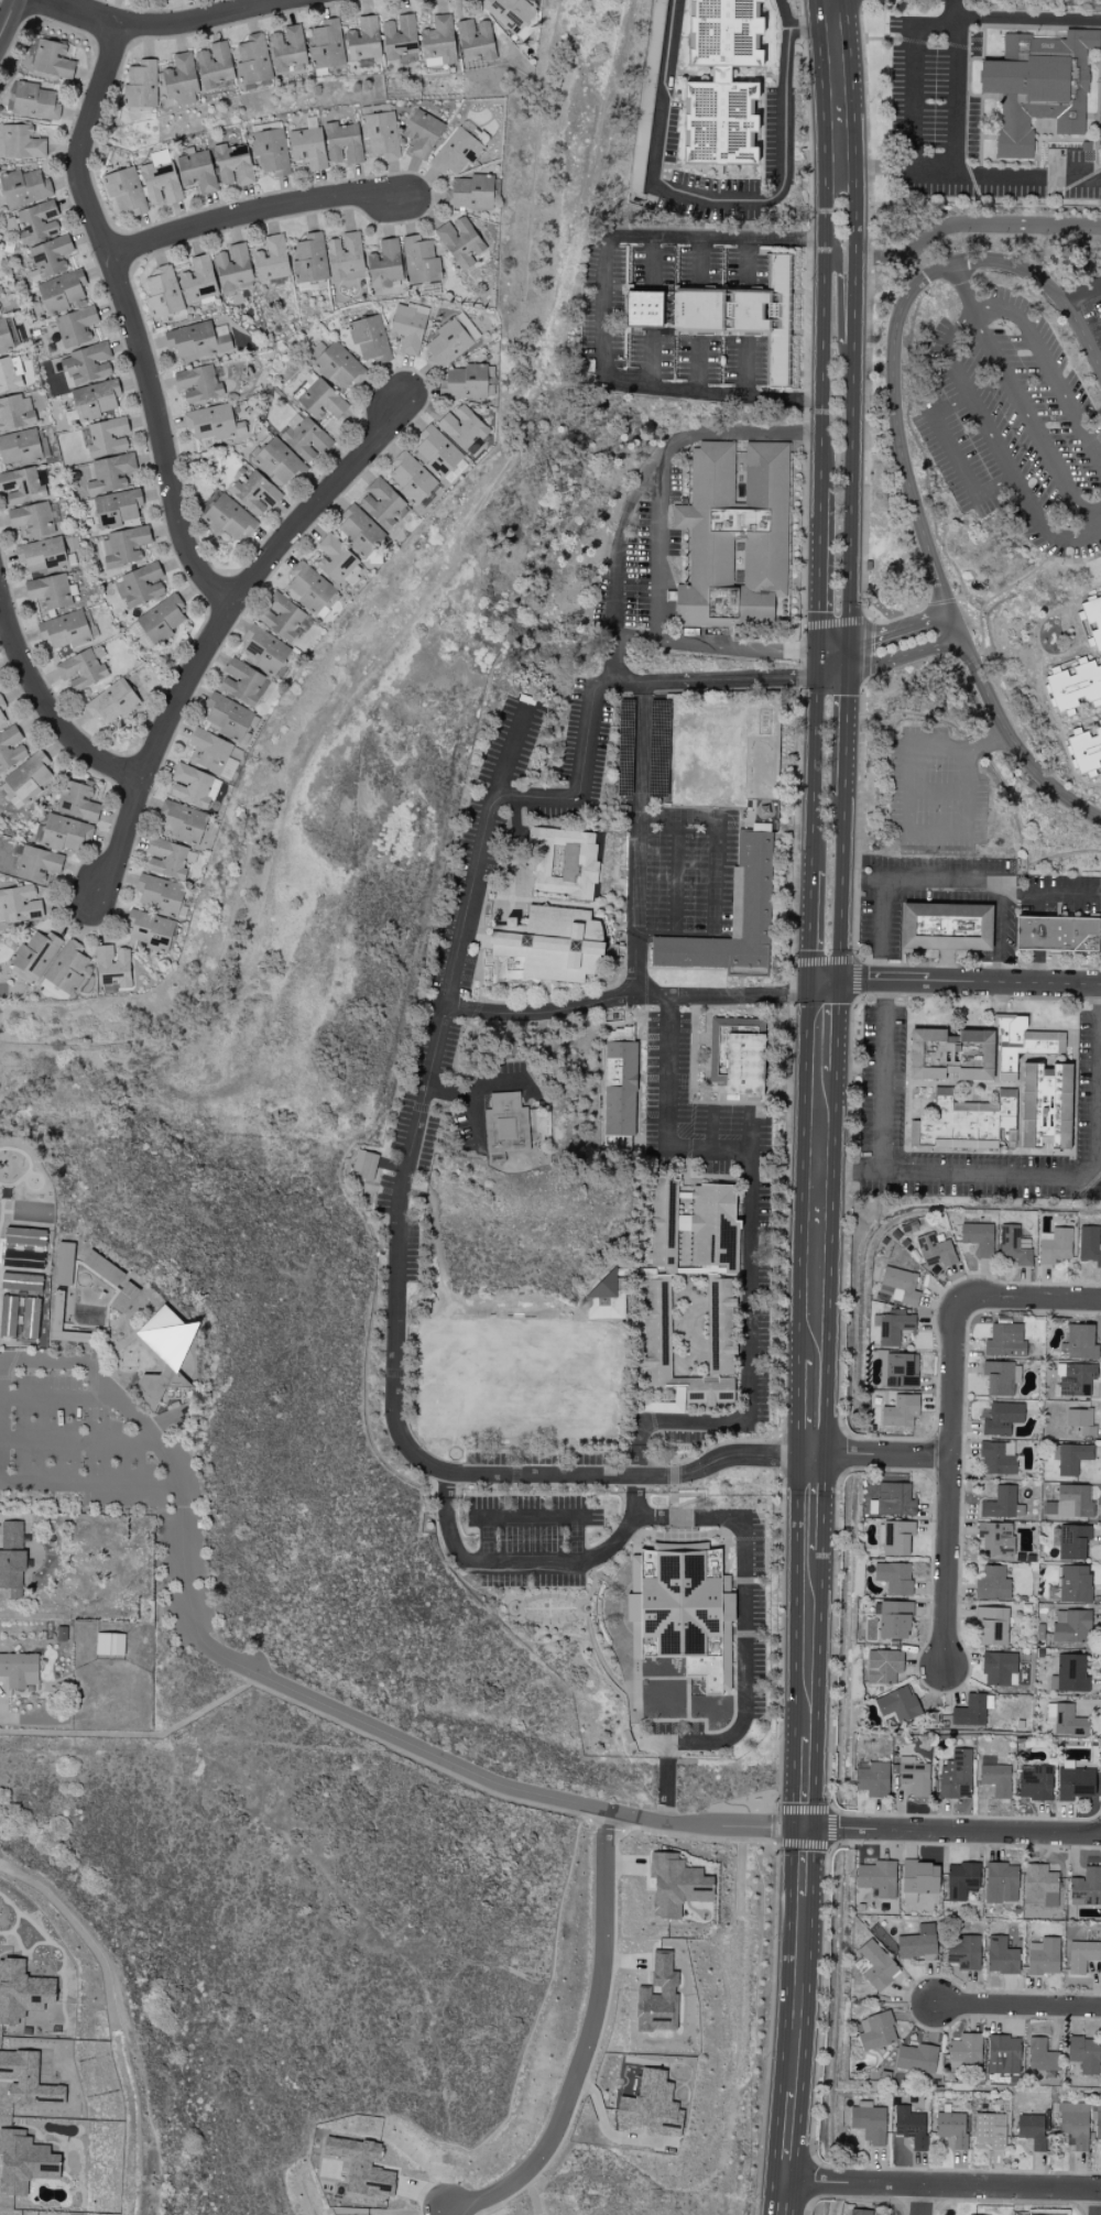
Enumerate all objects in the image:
building: (509, 13)
road: (951, 13)
road: (783, 14)
road: (8, 19)
road: (1026, 19)
road: (162, 22)
road: (803, 30)
building: (399, 37)
building: (363, 40)
building: (438, 41)
building: (475, 41)
building: (326, 45)
building: (287, 48)
building: (50, 58)
building: (252, 61)
building: (214, 65)
building: (181, 80)
building: (721, 83)
building: (141, 86)
building: (1037, 87)
building: (34, 102)
building: (380, 134)
building: (422, 134)
building: (342, 143)
building: (307, 148)
road: (851, 148)
building: (270, 152)
building: (456, 153)
building: (233, 165)
road: (915, 165)
building: (197, 172)
road: (1024, 174)
building: (160, 181)
building: (23, 187)
building: (126, 192)
building: (470, 193)
road: (709, 199)
road: (250, 212)
building: (37, 222)
road: (973, 227)
road: (715, 238)
building: (459, 242)
road: (828, 243)
building: (345, 254)
building: (47, 258)
building: (271, 260)
building: (309, 260)
building: (419, 261)
road: (745, 261)
road: (648, 262)
road: (698, 262)
building: (383, 264)
building: (233, 266)
road: (838, 275)
building: (198, 281)
road: (963, 285)
building: (62, 291)
building: (163, 293)
road: (1081, 297)
road: (603, 306)
building: (646, 309)
building: (0, 314)
building: (743, 315)
road: (129, 319)
road: (853, 321)
building: (76, 328)
road: (979, 328)
building: (407, 329)
building: (4, 337)
building: (369, 339)
building: (198, 340)
building: (448, 342)
road: (650, 359)
building: (86, 364)
road: (695, 364)
building: (338, 367)
road: (745, 368)
building: (8, 377)
building: (465, 382)
building: (198, 384)
road: (710, 391)
building: (95, 400)
building: (321, 401)
building: (14, 414)
building: (212, 423)
parking lot: (1027, 424)
building: (462, 428)
road: (738, 432)
building: (107, 436)
building: (304, 438)
road: (993, 438)
building: (19, 448)
building: (435, 454)
road: (953, 455)
road: (901, 459)
building: (279, 463)
building: (110, 473)
building: (411, 479)
building: (21, 487)
building: (255, 493)
road: (850, 494)
building: (381, 503)
building: (117, 508)
road: (658, 508)
building: (228, 519)
building: (31, 520)
building: (359, 532)
building: (733, 536)
building: (123, 546)
building: (42, 555)
building: (335, 559)
road: (821, 566)
building: (140, 586)
building: (308, 589)
building: (48, 591)
building: (1091, 614)
building: (282, 617)
building: (161, 619)
road: (219, 629)
road: (897, 629)
building: (65, 630)
traffic signals: (821, 643)
road: (835, 643)
traffic signals: (849, 644)
building: (264, 651)
road: (902, 657)
road: (848, 659)
road: (819, 661)
building: (81, 670)
traffic signals: (819, 673)
road: (832, 674)
traffic signals: (847, 675)
road: (716, 680)
building: (244, 684)
road: (602, 684)
building: (1075, 685)
building: (112, 702)
road: (48, 710)
building: (1, 717)
building: (228, 717)
road: (844, 735)
road: (983, 742)
building: (11, 749)
building: (208, 751)
building: (1086, 752)
road: (506, 754)
building: (29, 776)
road: (816, 776)
building: (193, 786)
building: (77, 801)
building: (183, 822)
road: (962, 823)
building: (63, 833)
building: (167, 859)
building: (564, 862)
building: (36, 864)
road: (676, 875)
road: (991, 880)
road: (840, 888)
road: (1046, 894)
building: (160, 895)
building: (19, 904)
building: (731, 920)
road: (811, 926)
building: (946, 927)
road: (644, 929)
building: (150, 930)
building: (1056, 934)
road: (459, 946)
building: (547, 946)
building: (34, 954)
road: (639, 962)
building: (112, 967)
building: (65, 969)
road: (962, 980)
road: (825, 985)
road: (634, 996)
road: (881, 1002)
road: (826, 1033)
building: (1021, 1044)
building: (950, 1055)
building: (737, 1060)
road: (667, 1073)
road: (476, 1088)
building: (619, 1089)
road: (447, 1093)
building: (1045, 1105)
building: (505, 1123)
road: (710, 1131)
road: (708, 1152)
building: (363, 1165)
road: (1026, 1171)
road: (1087, 1175)
road: (822, 1215)
building: (663, 1221)
building: (713, 1227)
building: (978, 1239)
building: (1054, 1245)
building: (1089, 1245)
building: (1012, 1246)
building: (9, 1248)
building: (935, 1251)
road: (746, 1268)
building: (21, 1283)
building: (901, 1285)
building: (889, 1292)
building: (123, 1298)
building: (604, 1298)
road: (1032, 1298)
building: (62, 1303)
building: (8, 1317)
building: (30, 1319)
building: (892, 1327)
building: (719, 1328)
building: (656, 1332)
building: (1004, 1341)
building: (1078, 1343)
building: (164, 1355)
road: (81, 1366)
building: (901, 1371)
building: (998, 1378)
park: (516, 1379)
building: (1075, 1379)
building: (709, 1390)
road: (58, 1403)
road: (816, 1408)
building: (900, 1412)
building: (1000, 1419)
road: (665, 1422)
building: (1078, 1422)
road: (73, 1443)
road: (882, 1455)
building: (1070, 1458)
building: (996, 1459)
road: (434, 1465)
parking lot: (109, 1469)
road: (672, 1476)
road: (949, 1484)
road: (90, 1486)
building: (894, 1499)
building: (1070, 1503)
road: (814, 1504)
building: (1002, 1504)
road: (575, 1519)
road: (445, 1526)
road: (742, 1538)
building: (896, 1538)
building: (995, 1538)
parking lot: (530, 1541)
building: (1069, 1541)
road: (609, 1546)
building: (12, 1558)
building: (893, 1578)
building: (992, 1584)
building: (1073, 1584)
building: (682, 1612)
building: (894, 1621)
building: (991, 1626)
building: (1070, 1626)
building: (109, 1645)
road: (809, 1645)
building: (883, 1667)
building: (998, 1668)
building: (19, 1670)
building: (1069, 1674)
building: (896, 1704)
building: (969, 1712)
building: (1064, 1720)
road: (138, 1747)
road: (416, 1754)
building: (914, 1776)
building: (956, 1776)
building: (872, 1779)
building: (995, 1780)
road: (805, 1781)
building: (1034, 1782)
building: (1073, 1783)
traffic signals: (805, 1826)
road: (952, 1830)
road: (832, 1846)
road: (803, 1858)
building: (877, 1878)
building: (918, 1880)
building: (960, 1880)
building: (1001, 1883)
building: (675, 1885)
building: (1040, 1885)
building: (1086, 1887)
building: (918, 1944)
building: (964, 1953)
building: (1001, 1956)
building: (1043, 1956)
building: (1081, 1956)
building: (860, 1965)
building: (876, 1966)
building: (22, 1992)
road: (797, 1993)
building: (657, 1996)
road: (1018, 2005)
building: (875, 2031)
road: (586, 2042)
building: (964, 2052)
building: (1003, 2054)
building: (1083, 2054)
building: (1040, 2056)
building: (916, 2059)
building: (26, 2080)
building: (651, 2105)
building: (1097, 2120)
building: (869, 2124)
building: (1073, 2125)
building: (909, 2127)
building: (951, 2128)
building: (990, 2130)
building: (1033, 2131)
road: (787, 2137)
building: (23, 2162)
building: (362, 2167)
road: (941, 2185)
road: (782, 2197)
road: (922, 2200)
road: (1100, 2209)
building: (860, 2212)

